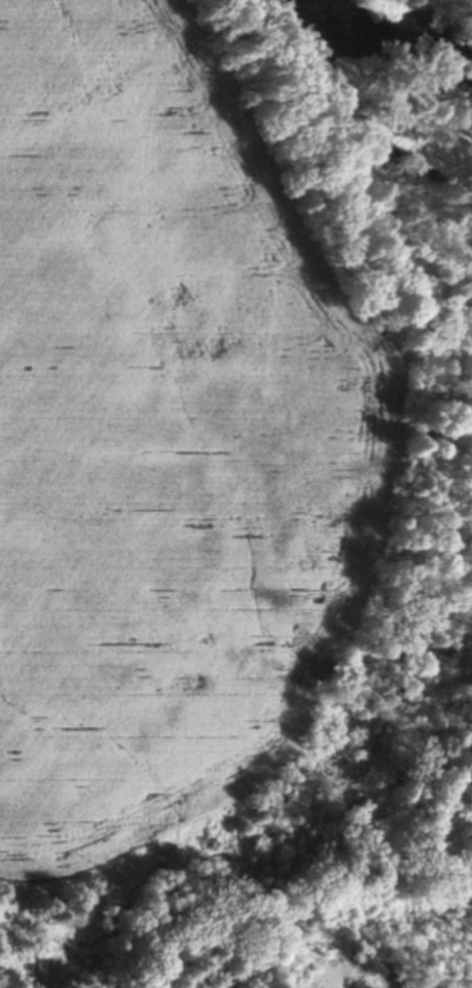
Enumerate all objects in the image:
river: (403, 53)

